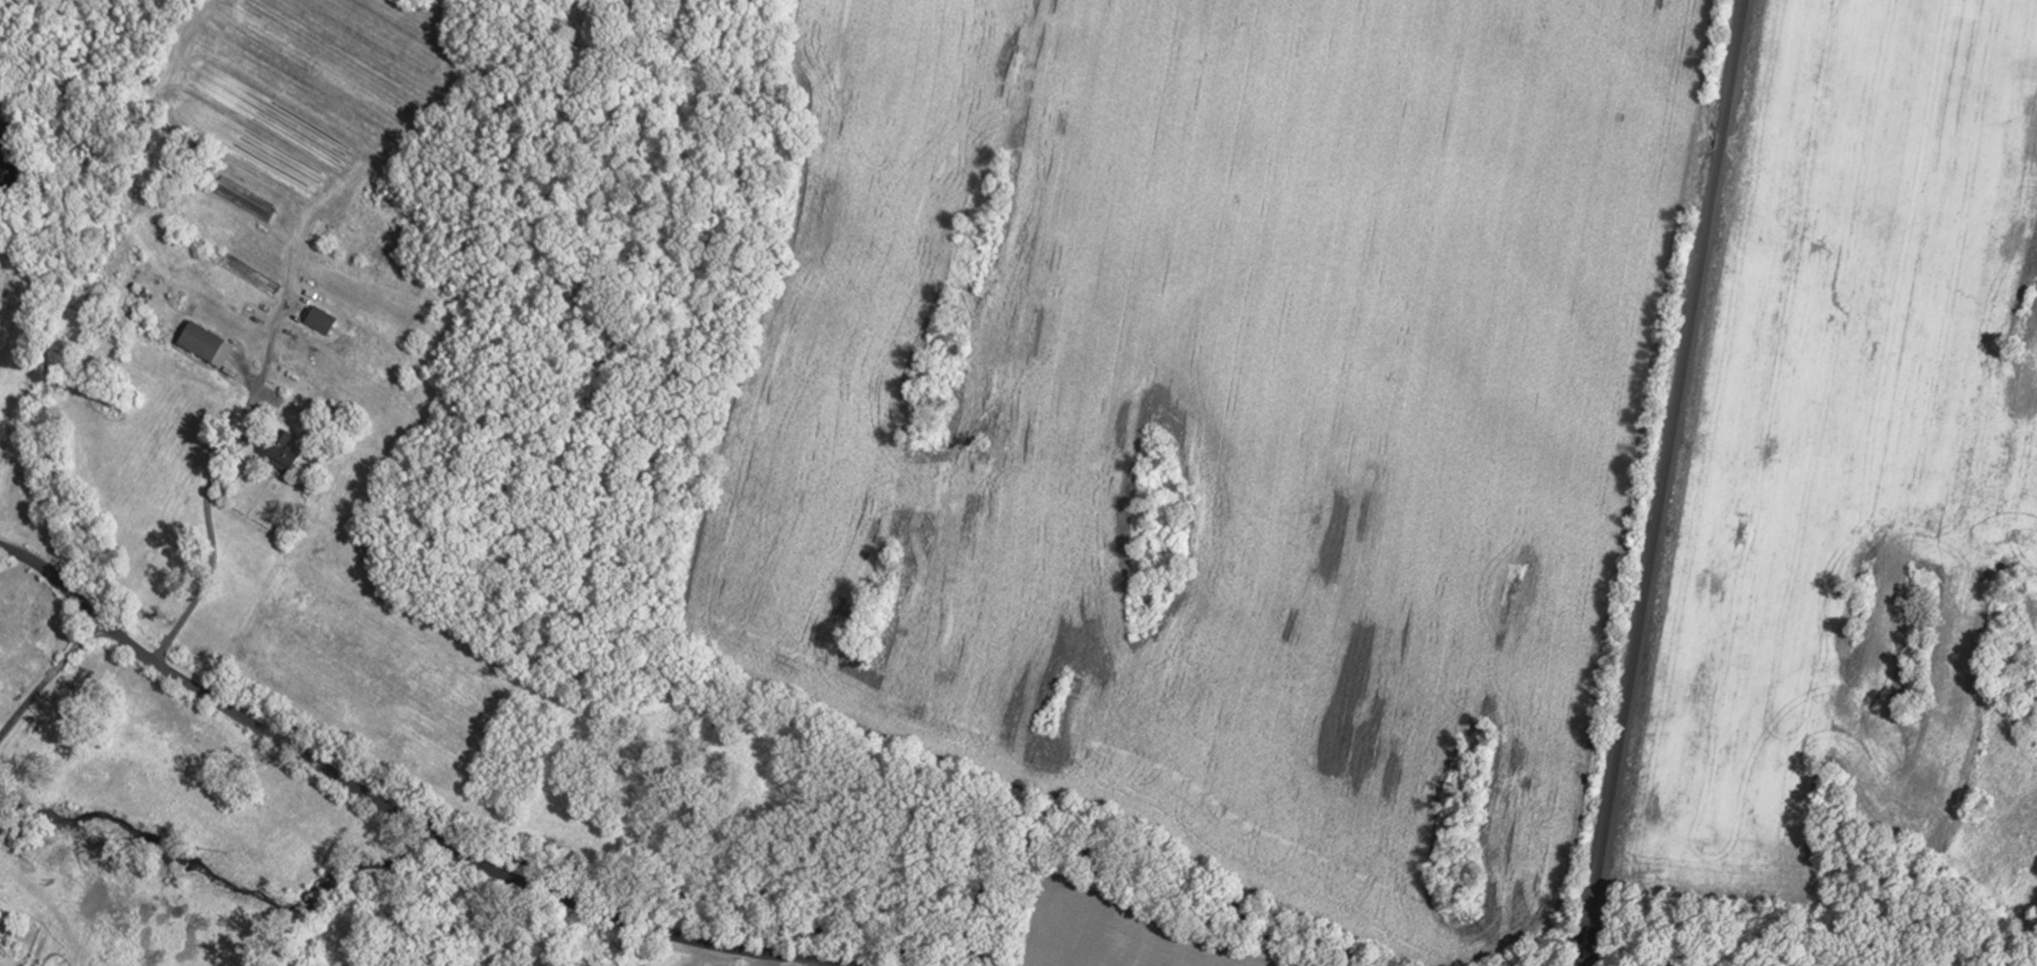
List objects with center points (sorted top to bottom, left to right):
building: (248, 199)
building: (253, 275)
building: (323, 321)
building: (209, 345)
road: (266, 373)
building: (285, 453)
railway: (1672, 463)
road: (215, 555)
road: (43, 665)
road: (394, 814)
railway: (1593, 941)
railway: (1589, 961)

